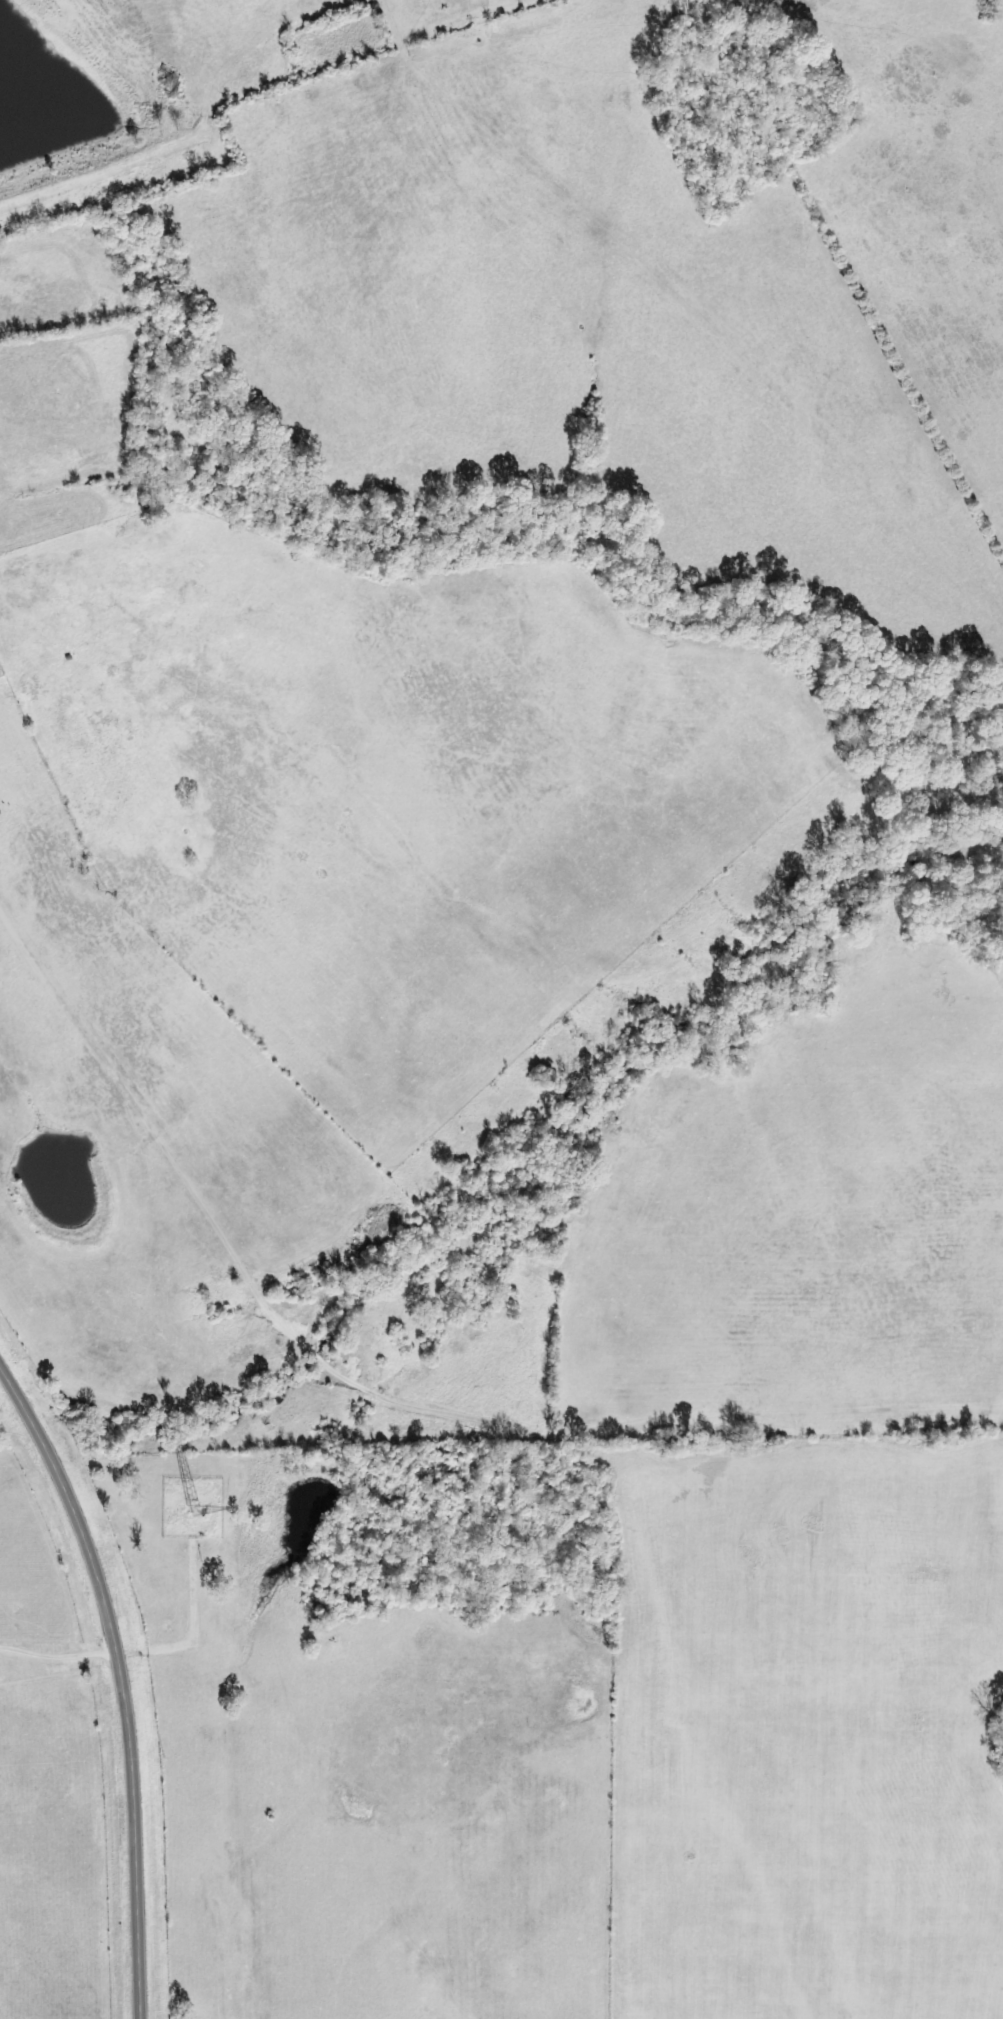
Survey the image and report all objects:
road: (117, 1682)

